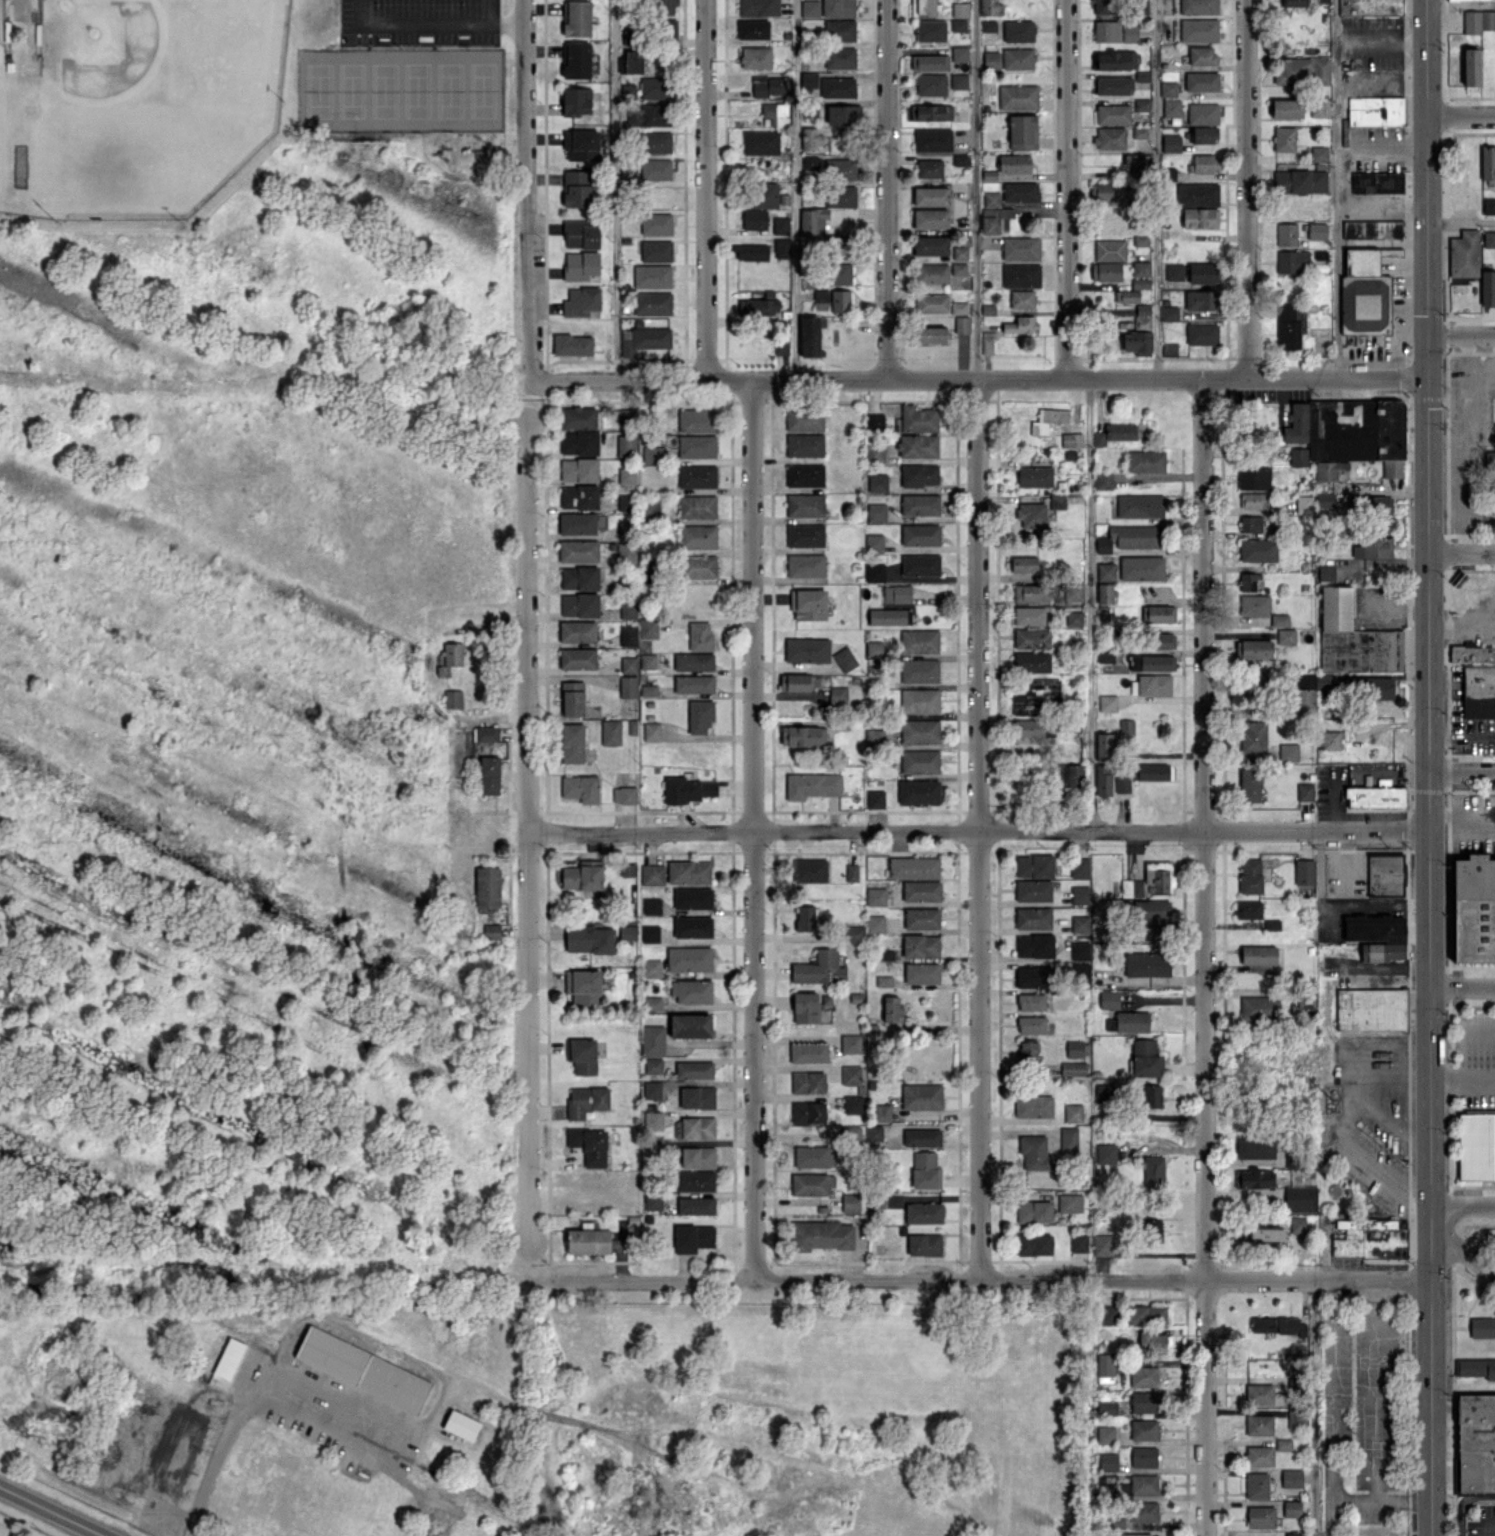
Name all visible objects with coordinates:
building: (1457, 0)
building: (1294, 3)
road: (1461, 4)
building: (666, 7)
building: (758, 7)
building: (924, 7)
building: (990, 7)
building: (1100, 7)
building: (1198, 7)
building: (1370, 7)
building: (810, 8)
building: (838, 8)
building: (959, 9)
road: (489, 11)
building: (576, 17)
building: (1478, 21)
parking lot: (418, 22)
road: (413, 23)
road: (507, 23)
building: (958, 25)
building: (988, 25)
building: (669, 28)
building: (753, 29)
building: (1199, 29)
building: (839, 30)
building: (930, 30)
building: (1107, 30)
building: (1018, 31)
building: (1129, 33)
road: (1382, 40)
building: (959, 53)
building: (1202, 55)
building: (755, 57)
building: (840, 57)
building: (1018, 58)
building: (576, 59)
building: (991, 60)
building: (1114, 60)
building: (929, 62)
building: (630, 63)
building: (1471, 67)
building: (1301, 70)
building: (959, 81)
building: (1202, 81)
building: (931, 84)
building: (767, 85)
building: (1114, 85)
building: (654, 87)
building: (837, 87)
building: (1168, 89)
park: (401, 90)
building: (627, 90)
building: (1018, 96)
building: (1377, 99)
building: (577, 100)
park: (154, 102)
building: (1142, 104)
building: (1171, 108)
building: (1287, 108)
building: (1317, 108)
park: (3, 112)
building: (931, 112)
building: (1203, 112)
building: (774, 113)
building: (843, 114)
building: (1113, 114)
road: (1461, 116)
building: (1023, 132)
building: (1204, 134)
building: (810, 137)
building: (1110, 138)
building: (1284, 138)
building: (932, 139)
building: (655, 142)
building: (760, 142)
building: (1171, 142)
building: (581, 144)
road: (1383, 152)
building: (1319, 153)
building: (1138, 162)
building: (1488, 162)
building: (1014, 163)
building: (1204, 164)
building: (929, 168)
building: (843, 169)
building: (652, 170)
building: (1168, 173)
building: (1300, 181)
building: (1377, 182)
building: (576, 188)
road: (528, 189)
road: (615, 189)
road: (706, 189)
road: (795, 189)
road: (883, 189)
road: (976, 189)
road: (1065, 189)
road: (1155, 189)
road: (1246, 189)
road: (1336, 189)
building: (1020, 191)
building: (1112, 192)
building: (1197, 194)
building: (761, 195)
building: (840, 196)
building: (931, 196)
building: (991, 199)
road: (1382, 204)
building: (1489, 206)
building: (1200, 217)
building: (930, 218)
building: (754, 219)
building: (990, 221)
building: (813, 222)
building: (656, 223)
road: (1461, 223)
building: (780, 225)
building: (1373, 229)
building: (1317, 230)
building: (580, 234)
building: (1286, 234)
building: (1489, 239)
building: (931, 245)
building: (839, 246)
building: (781, 248)
building: (1020, 248)
building: (656, 250)
building: (1110, 250)
building: (750, 252)
building: (960, 253)
building: (1463, 256)
building: (1292, 261)
building: (580, 265)
building: (958, 269)
building: (1141, 269)
building: (1106, 271)
building: (1174, 272)
building: (1202, 272)
building: (932, 273)
building: (840, 274)
building: (1020, 275)
building: (652, 276)
building: (1140, 283)
building: (1488, 287)
building: (1364, 294)
building: (1126, 296)
building: (820, 299)
building: (1022, 299)
building: (1202, 299)
building: (840, 300)
building: (581, 301)
building: (652, 303)
building: (932, 303)
building: (759, 306)
building: (958, 308)
building: (1144, 309)
building: (1169, 313)
building: (1142, 322)
building: (962, 324)
building: (1021, 324)
building: (1290, 325)
building: (1201, 333)
building: (928, 334)
road: (1461, 334)
building: (810, 335)
traffic signals: (1428, 335)
building: (645, 340)
building: (987, 342)
building: (1137, 342)
building: (572, 345)
building: (781, 347)
road: (981, 378)
traffic signals: (1429, 379)
building: (625, 417)
building: (578, 418)
building: (804, 419)
building: (918, 419)
building: (696, 420)
building: (874, 420)
building: (1048, 420)
building: (1115, 433)
building: (1347, 435)
building: (1071, 440)
building: (579, 443)
building: (626, 445)
building: (804, 445)
road: (1462, 445)
building: (697, 446)
building: (918, 446)
building: (874, 452)
building: (650, 454)
building: (1489, 457)
building: (1145, 461)
building: (579, 469)
building: (627, 475)
building: (804, 475)
building: (919, 475)
building: (697, 476)
building: (1034, 476)
building: (1253, 478)
building: (1103, 480)
building: (877, 482)
road: (1384, 491)
building: (579, 497)
building: (1253, 500)
building: (1056, 501)
building: (622, 502)
building: (1492, 503)
building: (920, 504)
building: (1304, 504)
building: (1377, 504)
building: (805, 505)
building: (1139, 505)
building: (697, 506)
building: (876, 512)
building: (1031, 514)
building: (577, 523)
building: (1250, 523)
building: (624, 529)
building: (805, 535)
building: (920, 535)
building: (697, 536)
building: (1134, 536)
building: (874, 542)
building: (1103, 545)
building: (1372, 547)
building: (1258, 550)
building: (578, 551)
building: (626, 552)
road: (1462, 553)
building: (1024, 564)
building: (805, 565)
building: (920, 565)
building: (699, 566)
building: (1141, 568)
building: (874, 572)
building: (1106, 572)
building: (1326, 572)
building: (579, 578)
building: (1248, 581)
building: (1031, 592)
building: (1073, 592)
building: (1105, 593)
building: (897, 594)
building: (808, 604)
road: (1090, 604)
building: (579, 605)
building: (1254, 605)
building: (628, 610)
building: (1158, 613)
building: (1029, 615)
building: (889, 617)
building: (1074, 618)
building: (1105, 618)
building: (1279, 620)
road: (1462, 624)
building: (648, 628)
building: (577, 631)
building: (628, 635)
building: (700, 636)
building: (1286, 636)
building: (1031, 638)
building: (1354, 638)
building: (1162, 640)
building: (919, 641)
building: (874, 648)
building: (1253, 648)
building: (807, 650)
building: (453, 654)
building: (1472, 654)
building: (1105, 657)
building: (577, 658)
building: (844, 659)
building: (647, 661)
building: (693, 661)
building: (1031, 662)
building: (1152, 662)
building: (629, 664)
building: (919, 671)
building: (1324, 681)
building: (796, 682)
building: (693, 684)
building: (1151, 685)
building: (628, 686)
building: (1374, 688)
building: (648, 690)
building: (1479, 691)
building: (838, 695)
building: (1036, 696)
building: (452, 698)
building: (572, 698)
building: (919, 700)
building: (1303, 702)
building: (1108, 703)
building: (700, 716)
building: (1028, 728)
building: (919, 731)
road: (1462, 731)
building: (610, 732)
building: (652, 732)
building: (486, 733)
building: (803, 736)
building: (874, 737)
building: (1254, 737)
building: (1329, 740)
building: (572, 743)
building: (1106, 746)
building: (1288, 752)
building: (919, 761)
road: (1429, 767)
building: (1152, 772)
road: (1462, 772)
building: (489, 774)
building: (1072, 775)
building: (1103, 780)
building: (1122, 784)
building: (811, 785)
building: (1250, 785)
building: (581, 788)
building: (686, 789)
building: (918, 791)
building: (1305, 792)
building: (624, 795)
building: (1375, 796)
building: (875, 799)
road: (1332, 800)
road: (1462, 811)
road: (752, 828)
road: (977, 829)
road: (978, 830)
road: (527, 831)
building: (1034, 866)
building: (914, 867)
building: (1079, 867)
building: (627, 869)
building: (809, 870)
building: (689, 872)
building: (851, 872)
building: (1304, 872)
building: (652, 874)
building: (1384, 874)
building: (583, 875)
building: (1250, 876)
building: (1150, 880)
building: (487, 887)
building: (1033, 890)
building: (921, 891)
building: (1080, 895)
building: (875, 896)
building: (693, 898)
road: (1376, 905)
building: (651, 906)
building: (1473, 907)
building: (1249, 909)
building: (1152, 910)
building: (805, 917)
building: (922, 918)
building: (1033, 918)
building: (875, 924)
building: (1080, 924)
building: (1272, 924)
building: (692, 926)
building: (491, 929)
building: (628, 932)
building: (854, 933)
building: (650, 934)
building: (1159, 934)
building: (1377, 936)
building: (590, 939)
building: (920, 945)
building: (1034, 946)
building: (1080, 950)
building: (1258, 955)
road: (1204, 957)
building: (689, 959)
building: (1147, 964)
building: (652, 968)
building: (819, 968)
building: (1080, 971)
building: (921, 973)
building: (1032, 977)
road: (1338, 979)
building: (883, 981)
building: (583, 987)
road: (1462, 987)
building: (691, 991)
building: (1109, 999)
building: (1031, 1002)
building: (653, 1003)
building: (1259, 1007)
building: (810, 1008)
building: (892, 1009)
building: (1370, 1009)
building: (1129, 1022)
building: (1031, 1024)
building: (690, 1025)
road: (1477, 1027)
building: (653, 1040)
building: (851, 1043)
building: (1077, 1048)
building: (1027, 1050)
building: (809, 1052)
building: (581, 1055)
building: (1146, 1058)
building: (653, 1065)
building: (1073, 1068)
building: (694, 1070)
building: (851, 1075)
road: (1462, 1081)
building: (807, 1082)
road: (1344, 1084)
building: (652, 1090)
building: (1102, 1092)
building: (921, 1096)
building: (1152, 1096)
building: (697, 1097)
building: (586, 1101)
building: (853, 1104)
building: (1033, 1106)
building: (808, 1112)
building: (882, 1112)
building: (1073, 1113)
building: (653, 1120)
building: (694, 1127)
building: (921, 1137)
building: (1068, 1138)
building: (589, 1145)
building: (1476, 1146)
building: (652, 1148)
building: (1256, 1148)
building: (1034, 1152)
building: (1106, 1153)
building: (697, 1157)
building: (814, 1157)
road: (1363, 1160)
building: (925, 1170)
building: (1153, 1172)
building: (1254, 1178)
building: (695, 1181)
building: (812, 1183)
building: (1301, 1198)
building: (653, 1201)
building: (850, 1202)
building: (1070, 1203)
building: (695, 1205)
road: (1463, 1206)
building: (1034, 1211)
building: (924, 1212)
road: (1349, 1217)
building: (1297, 1224)
building: (1152, 1229)
building: (1267, 1234)
building: (821, 1235)
building: (693, 1237)
building: (1370, 1239)
building: (588, 1241)
building: (1078, 1242)
building: (924, 1244)
building: (1033, 1244)
building: (1102, 1245)
road: (1463, 1253)
road: (986, 1280)
building: (1147, 1314)
building: (1107, 1315)
building: (1262, 1324)
building: (1291, 1326)
building: (1482, 1327)
building: (1154, 1341)
building: (228, 1358)
building: (1105, 1367)
building: (1476, 1367)
building: (363, 1370)
building: (1143, 1376)
building: (1259, 1394)
road: (261, 1395)
building: (1143, 1402)
building: (1107, 1407)
road: (1313, 1407)
building: (1297, 1417)
road: (1331, 1422)
building: (461, 1425)
building: (1259, 1425)
road: (1375, 1426)
building: (1143, 1429)
building: (1105, 1434)
building: (1476, 1442)
building: (1283, 1443)
building: (1259, 1455)
building: (1144, 1456)
building: (1108, 1462)
building: (1291, 1478)
building: (1257, 1485)
road: (1403, 1500)
road: (1461, 1500)
building: (1292, 1508)
road: (55, 1510)
building: (1143, 1511)
building: (1261, 1516)
road: (1486, 1524)
park: (21, 1525)
building: (1136, 1534)
building: (1294, 1534)

